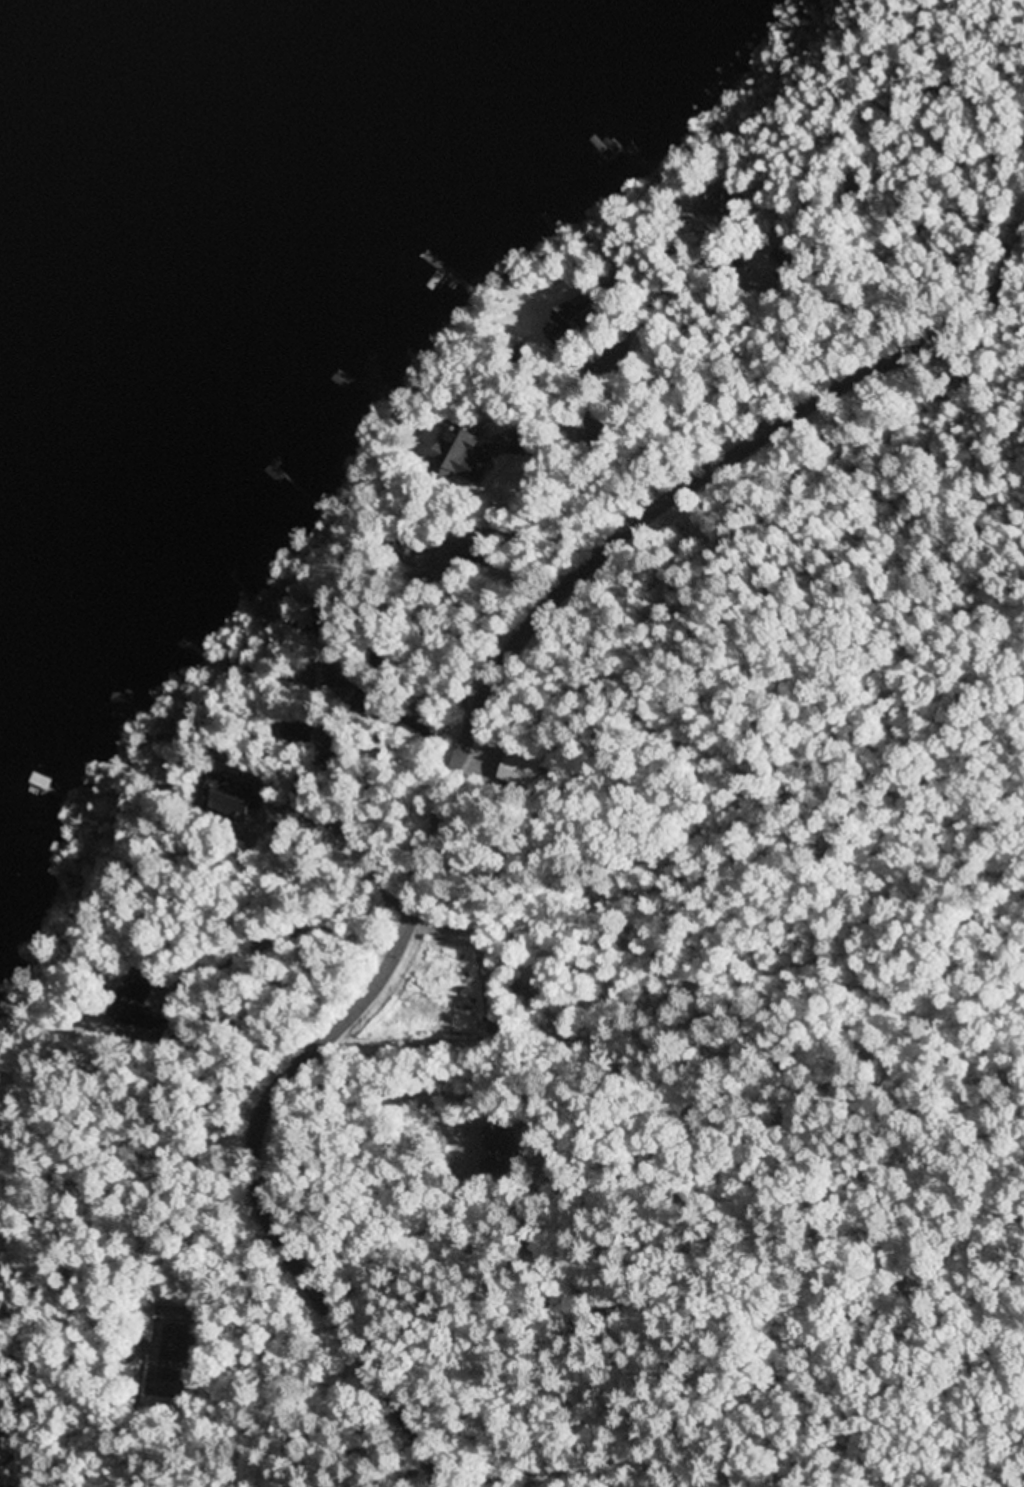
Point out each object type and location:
building: (727, 206)
building: (791, 255)
road: (1016, 265)
building: (578, 319)
building: (598, 432)
building: (463, 456)
building: (411, 545)
building: (478, 551)
building: (325, 616)
building: (288, 710)
road: (731, 718)
building: (300, 731)
building: (331, 756)
building: (307, 782)
building: (230, 791)
road: (448, 814)
building: (157, 830)
road: (235, 960)
building: (521, 994)
building: (140, 1001)
building: (497, 1026)
building: (506, 1146)
road: (392, 1461)

